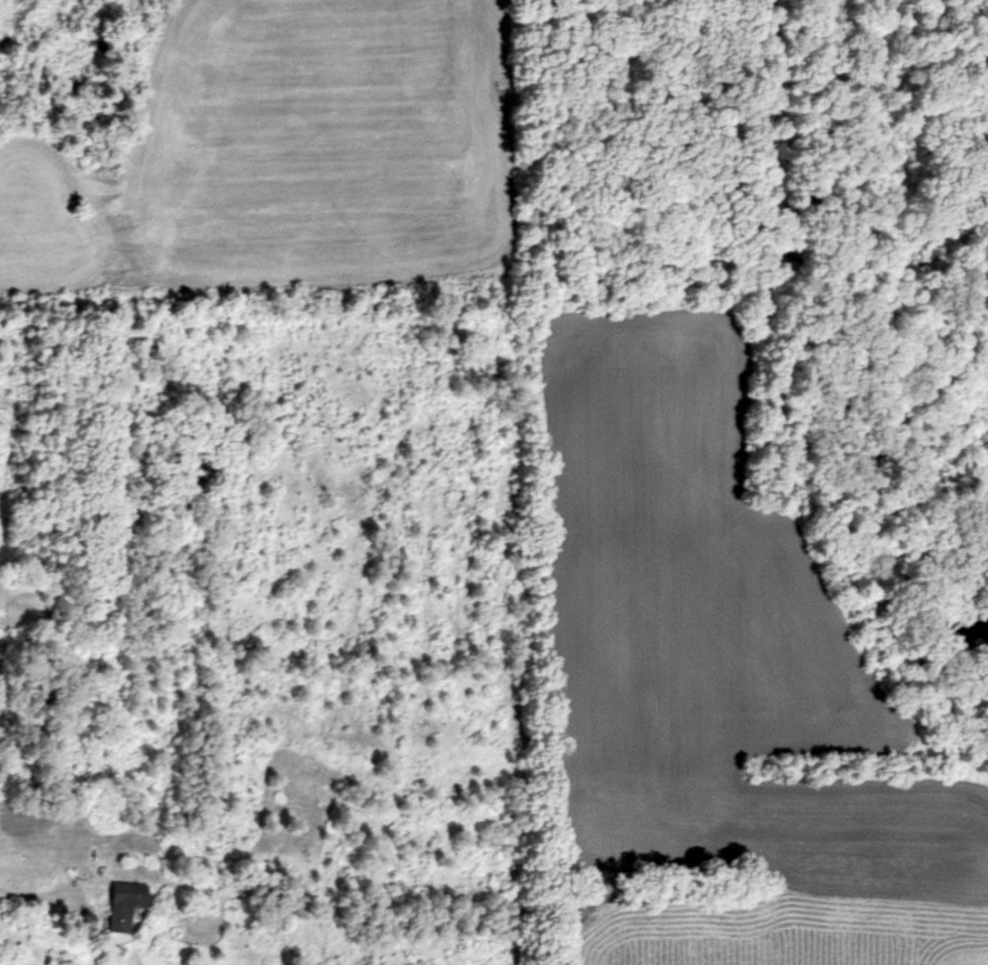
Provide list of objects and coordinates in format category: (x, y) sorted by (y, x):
road: (35, 893)
building: (125, 902)

